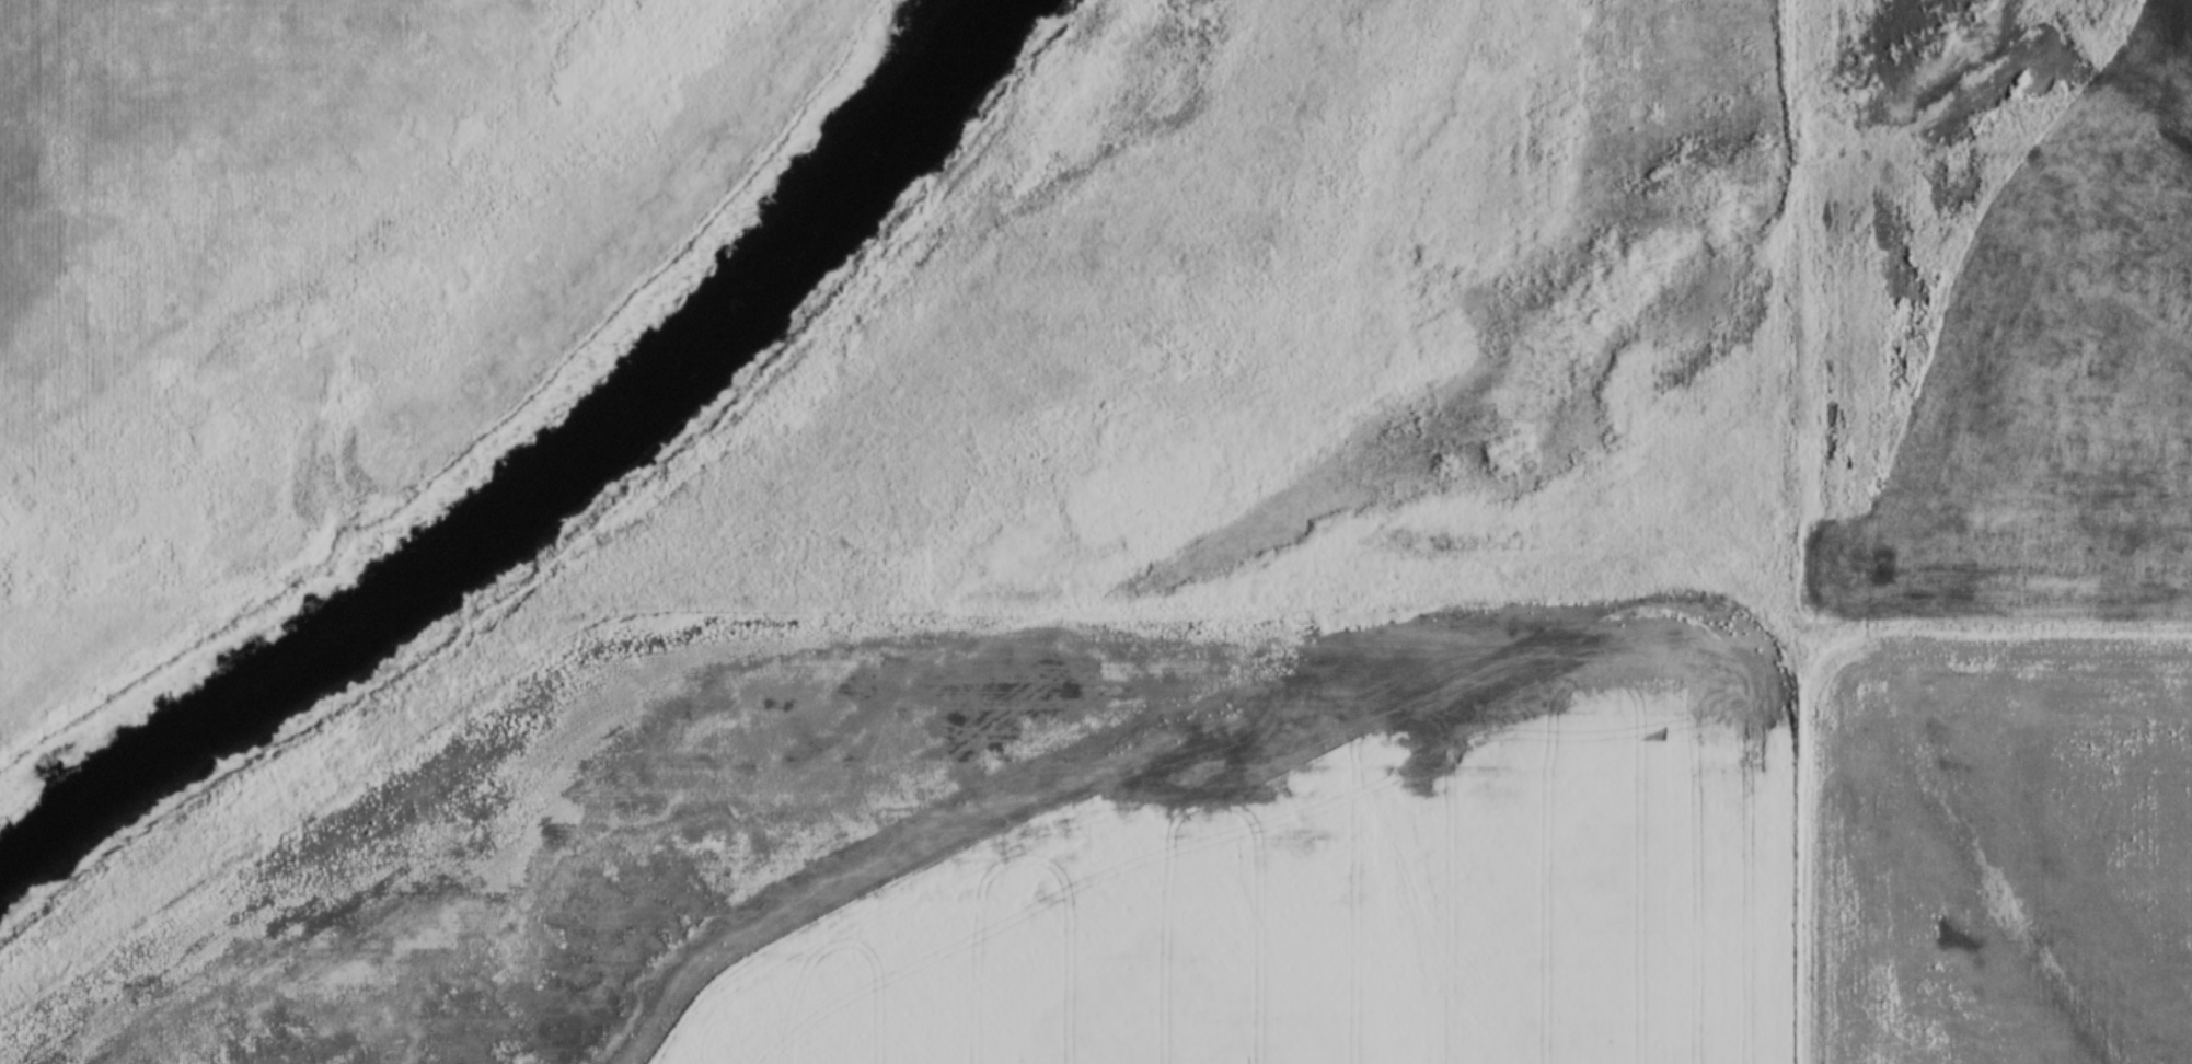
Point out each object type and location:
river: (529, 478)

